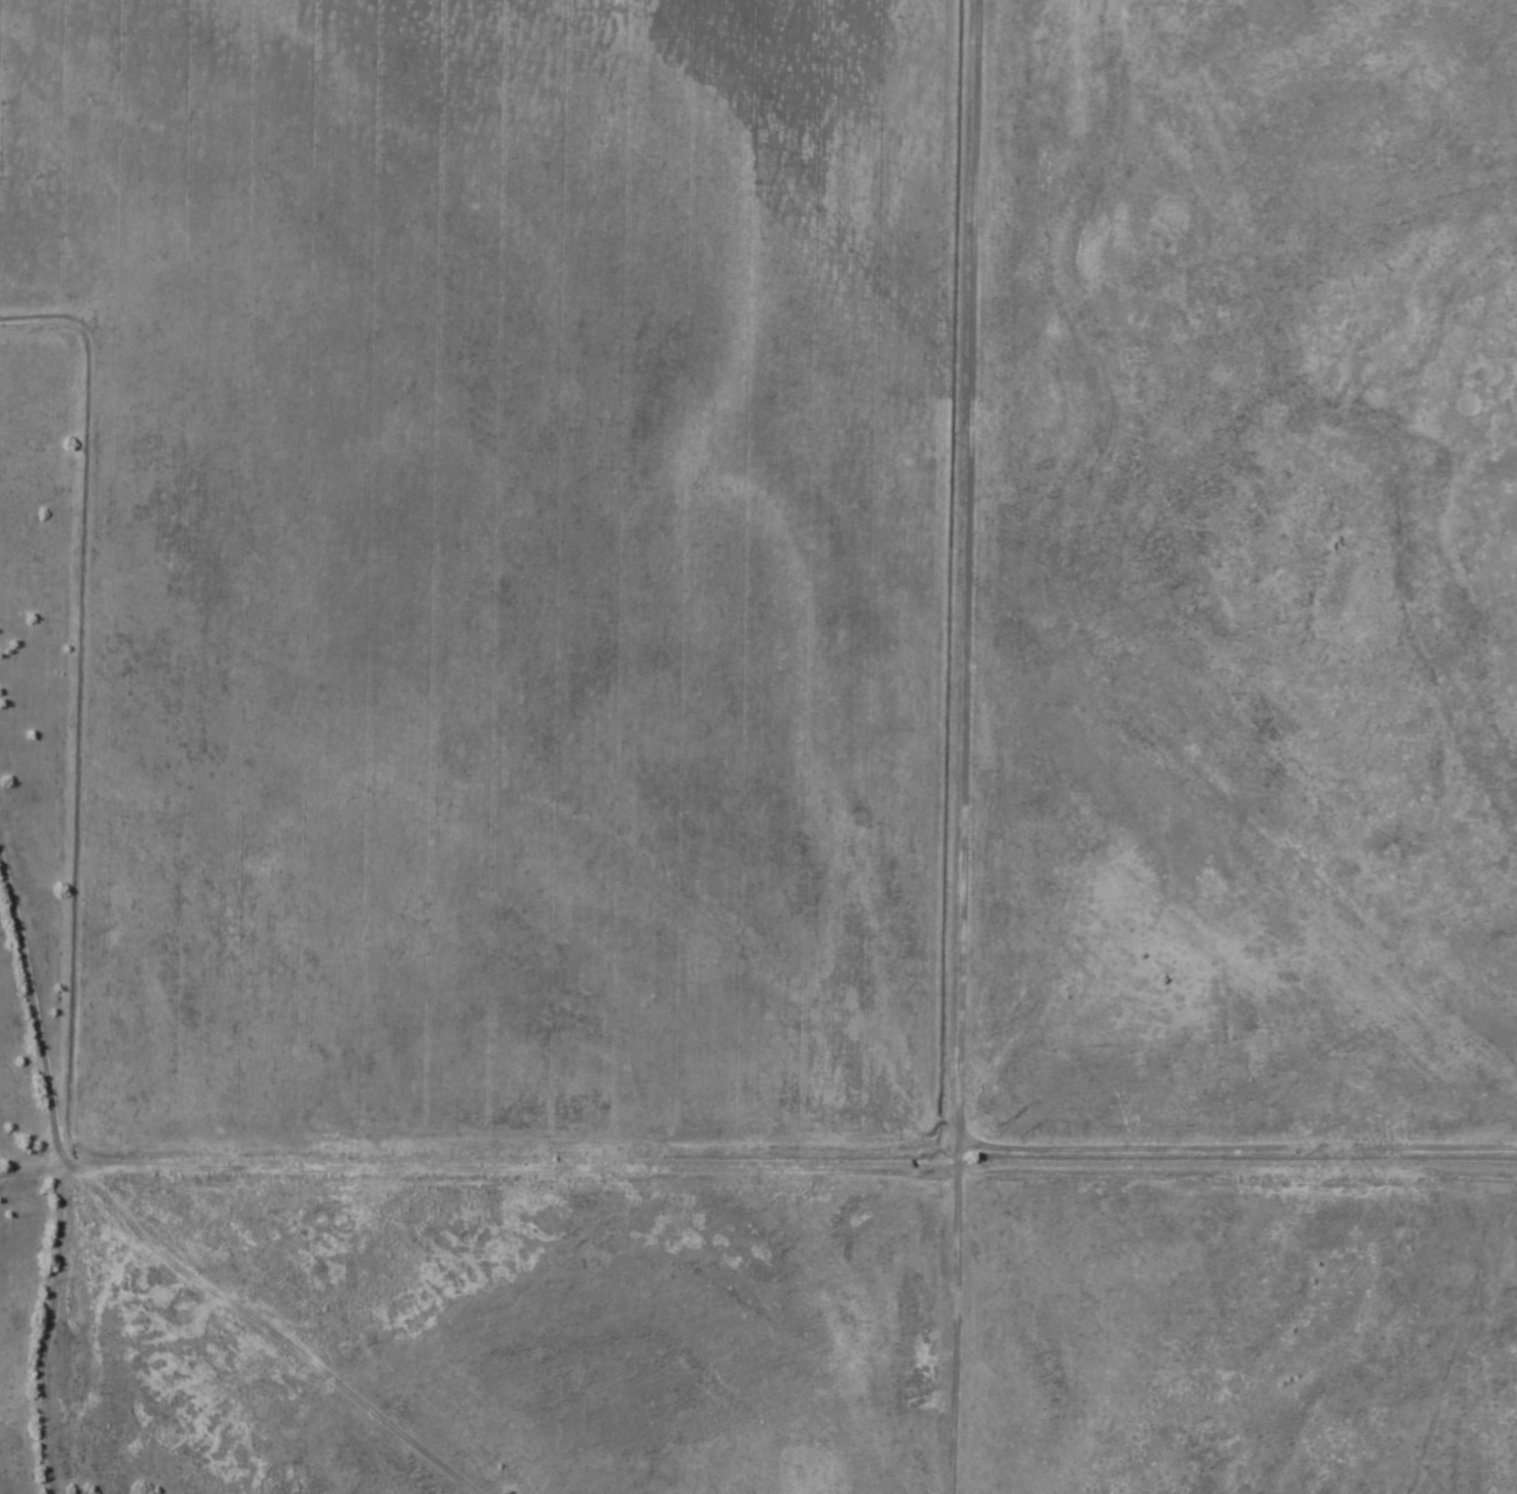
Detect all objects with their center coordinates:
crop: (517, 554)
road: (1028, 668)
road: (514, 1122)

